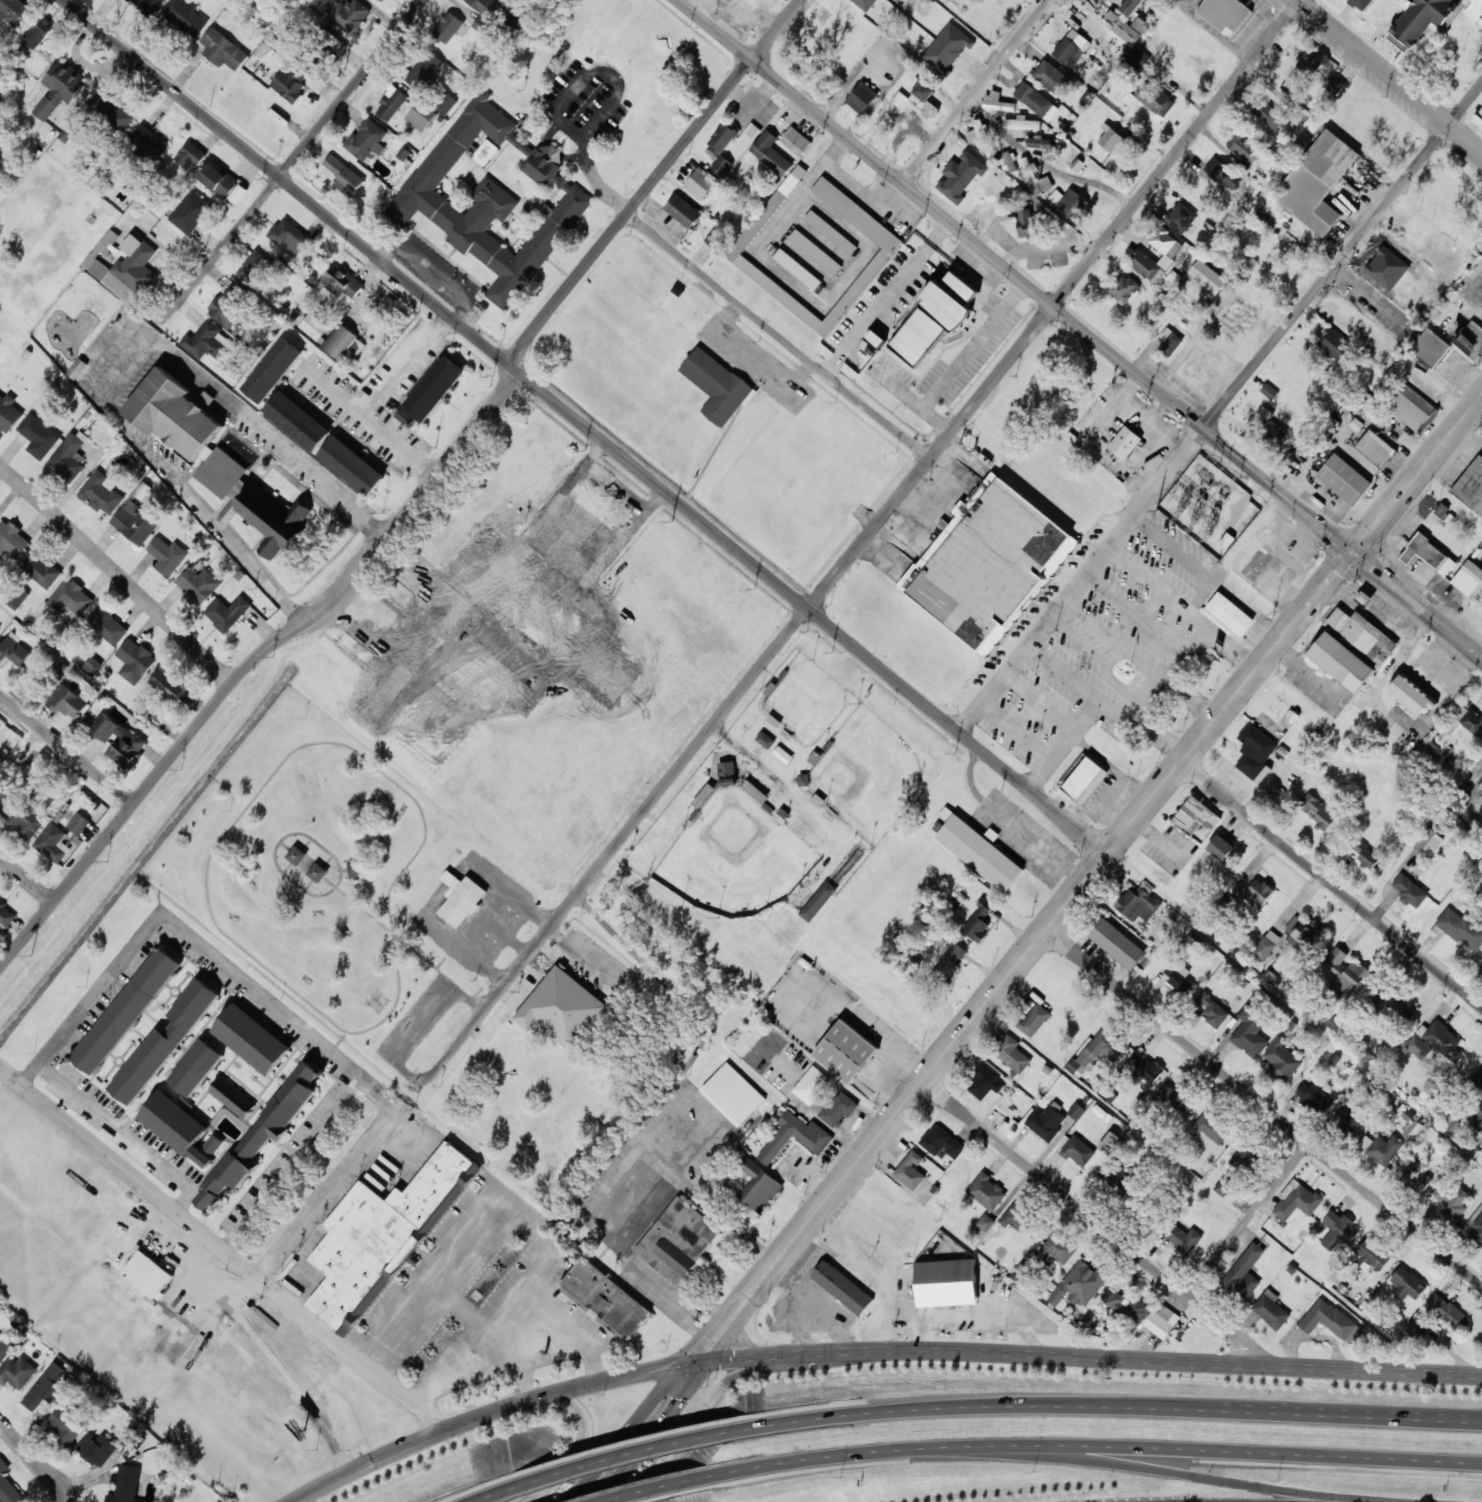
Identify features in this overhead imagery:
building: (382, 0)
building: (1364, 3)
building: (149, 5)
building: (1129, 5)
building: (486, 6)
building: (12, 10)
building: (1475, 11)
building: (348, 13)
building: (1225, 14)
building: (186, 16)
building: (1417, 20)
building: (481, 24)
building: (1126, 26)
building: (448, 27)
building: (38, 32)
building: (1071, 48)
building: (223, 49)
building: (1137, 58)
building: (1311, 60)
building: (425, 70)
road: (1388, 76)
building: (1052, 77)
building: (290, 81)
building: (1333, 83)
building: (60, 88)
building: (923, 90)
road: (976, 91)
building: (862, 97)
building: (1156, 98)
building: (998, 101)
building: (1036, 101)
building: (391, 103)
building: (446, 103)
building: (111, 110)
building: (929, 110)
building: (1268, 114)
building: (420, 116)
building: (1478, 118)
building: (1022, 125)
building: (980, 136)
building: (366, 140)
building: (1111, 140)
building: (796, 141)
building: (149, 142)
building: (1043, 146)
building: (722, 147)
building: (1244, 147)
road: (1177, 152)
building: (770, 153)
building: (191, 156)
building: (1009, 160)
road: (291, 162)
building: (1223, 173)
building: (344, 176)
building: (219, 180)
road: (654, 180)
building: (1039, 180)
building: (1317, 182)
building: (700, 183)
building: (238, 193)
building: (494, 196)
building: (1072, 203)
building: (683, 211)
building: (190, 212)
building: (1180, 217)
building: (1026, 222)
building: (830, 232)
building: (288, 234)
building: (716, 239)
building: (1165, 245)
building: (1404, 249)
building: (886, 250)
building: (815, 251)
road: (1342, 257)
building: (1392, 265)
building: (123, 266)
building: (253, 266)
building: (1146, 267)
building: (797, 269)
building: (1208, 276)
building: (342, 285)
building: (1124, 288)
building: (1422, 292)
building: (229, 302)
building: (935, 317)
building: (313, 326)
road: (1080, 328)
road: (779, 335)
building: (875, 338)
building: (1471, 339)
building: (206, 341)
building: (1169, 341)
building: (343, 342)
building: (1333, 343)
building: (1430, 348)
building: (272, 370)
building: (716, 385)
building: (434, 388)
road: (1481, 394)
building: (1410, 406)
building: (9, 413)
building: (298, 420)
road: (587, 426)
building: (1267, 429)
building: (188, 430)
building: (38, 436)
building: (1125, 442)
building: (1376, 448)
building: (70, 455)
building: (352, 465)
building: (1343, 478)
building: (1471, 486)
building: (101, 492)
power substation: (1208, 505)
building: (274, 519)
building: (135, 522)
building: (12, 539)
building: (1428, 554)
building: (167, 555)
building: (989, 564)
building: (40, 570)
road: (117, 572)
building: (1468, 577)
building: (198, 585)
building: (17, 598)
building: (71, 598)
building: (1364, 598)
building: (227, 612)
building: (1230, 613)
building: (107, 625)
building: (548, 625)
building: (0, 627)
building: (1362, 635)
building: (13, 649)
building: (135, 660)
building: (1342, 661)
road: (253, 662)
building: (91, 666)
building: (604, 673)
building: (169, 683)
building: (1411, 694)
building: (68, 702)
building: (1464, 719)
building: (765, 739)
building: (118, 740)
road: (67, 748)
building: (1255, 750)
building: (783, 754)
building: (727, 773)
building: (1263, 775)
road: (267, 778)
building: (1085, 780)
building: (755, 791)
road: (659, 793)
building: (704, 795)
building: (5, 798)
building: (1317, 811)
building: (1195, 816)
building: (26, 820)
building: (78, 822)
building: (1428, 842)
building: (52, 843)
building: (1220, 847)
building: (978, 849)
building: (1365, 853)
building: (296, 855)
building: (353, 869)
building: (318, 872)
road: (27, 878)
road: (1333, 883)
building: (1409, 890)
building: (1251, 892)
building: (461, 898)
building: (818, 900)
building: (1138, 903)
building: (5, 917)
building: (978, 922)
building: (1458, 928)
building: (1303, 933)
road: (202, 942)
building: (1116, 942)
building: (1266, 945)
road: (1033, 947)
building: (951, 959)
building: (1481, 962)
building: (1345, 972)
building: (1178, 977)
building: (1394, 1002)
building: (562, 1008)
building: (127, 1010)
building: (1213, 1010)
building: (1033, 1019)
building: (1250, 1032)
building: (251, 1039)
building: (1433, 1040)
building: (163, 1043)
building: (1103, 1050)
building: (846, 1051)
building: (1011, 1053)
building: (1282, 1061)
building: (196, 1067)
building: (1147, 1070)
building: (1477, 1079)
building: (812, 1084)
building: (991, 1087)
building: (733, 1094)
building: (1313, 1096)
building: (232, 1097)
building: (1178, 1097)
road: (1264, 1107)
building: (835, 1109)
building: (1075, 1110)
building: (1475, 1114)
building: (1348, 1117)
building: (1046, 1121)
building: (271, 1122)
building: (177, 1126)
building: (1211, 1127)
building: (1412, 1129)
building: (795, 1137)
road: (133, 1141)
building: (941, 1141)
building: (1108, 1141)
building: (213, 1144)
building: (1382, 1148)
building: (1078, 1151)
road: (301, 1170)
building: (910, 1170)
building: (1416, 1175)
building: (757, 1184)
building: (1225, 1184)
building: (987, 1191)
building: (1296, 1200)
building: (1018, 1217)
road: (1247, 1218)
road: (1099, 1223)
building: (1338, 1229)
building: (1478, 1230)
building: (381, 1237)
building: (1184, 1238)
building: (678, 1240)
building: (1059, 1247)
road: (222, 1248)
building: (1371, 1254)
building: (1244, 1272)
building: (148, 1273)
building: (946, 1282)
building: (1080, 1284)
building: (1407, 1284)
building: (842, 1287)
building: (606, 1297)
building: (1128, 1307)
building: (1270, 1309)
building: (1447, 1311)
building: (1161, 1320)
building: (1330, 1320)
building: (1418, 1327)
building: (4, 1348)
road: (878, 1350)
building: (17, 1371)
building: (46, 1387)
road: (717, 1403)
road: (1113, 1406)
building: (65, 1425)
building: (97, 1447)
road: (577, 1448)
road: (1096, 1451)
road: (608, 1459)
road: (35, 1465)
road: (1175, 1473)
building: (126, 1484)
building: (8, 1486)
road: (665, 1488)

